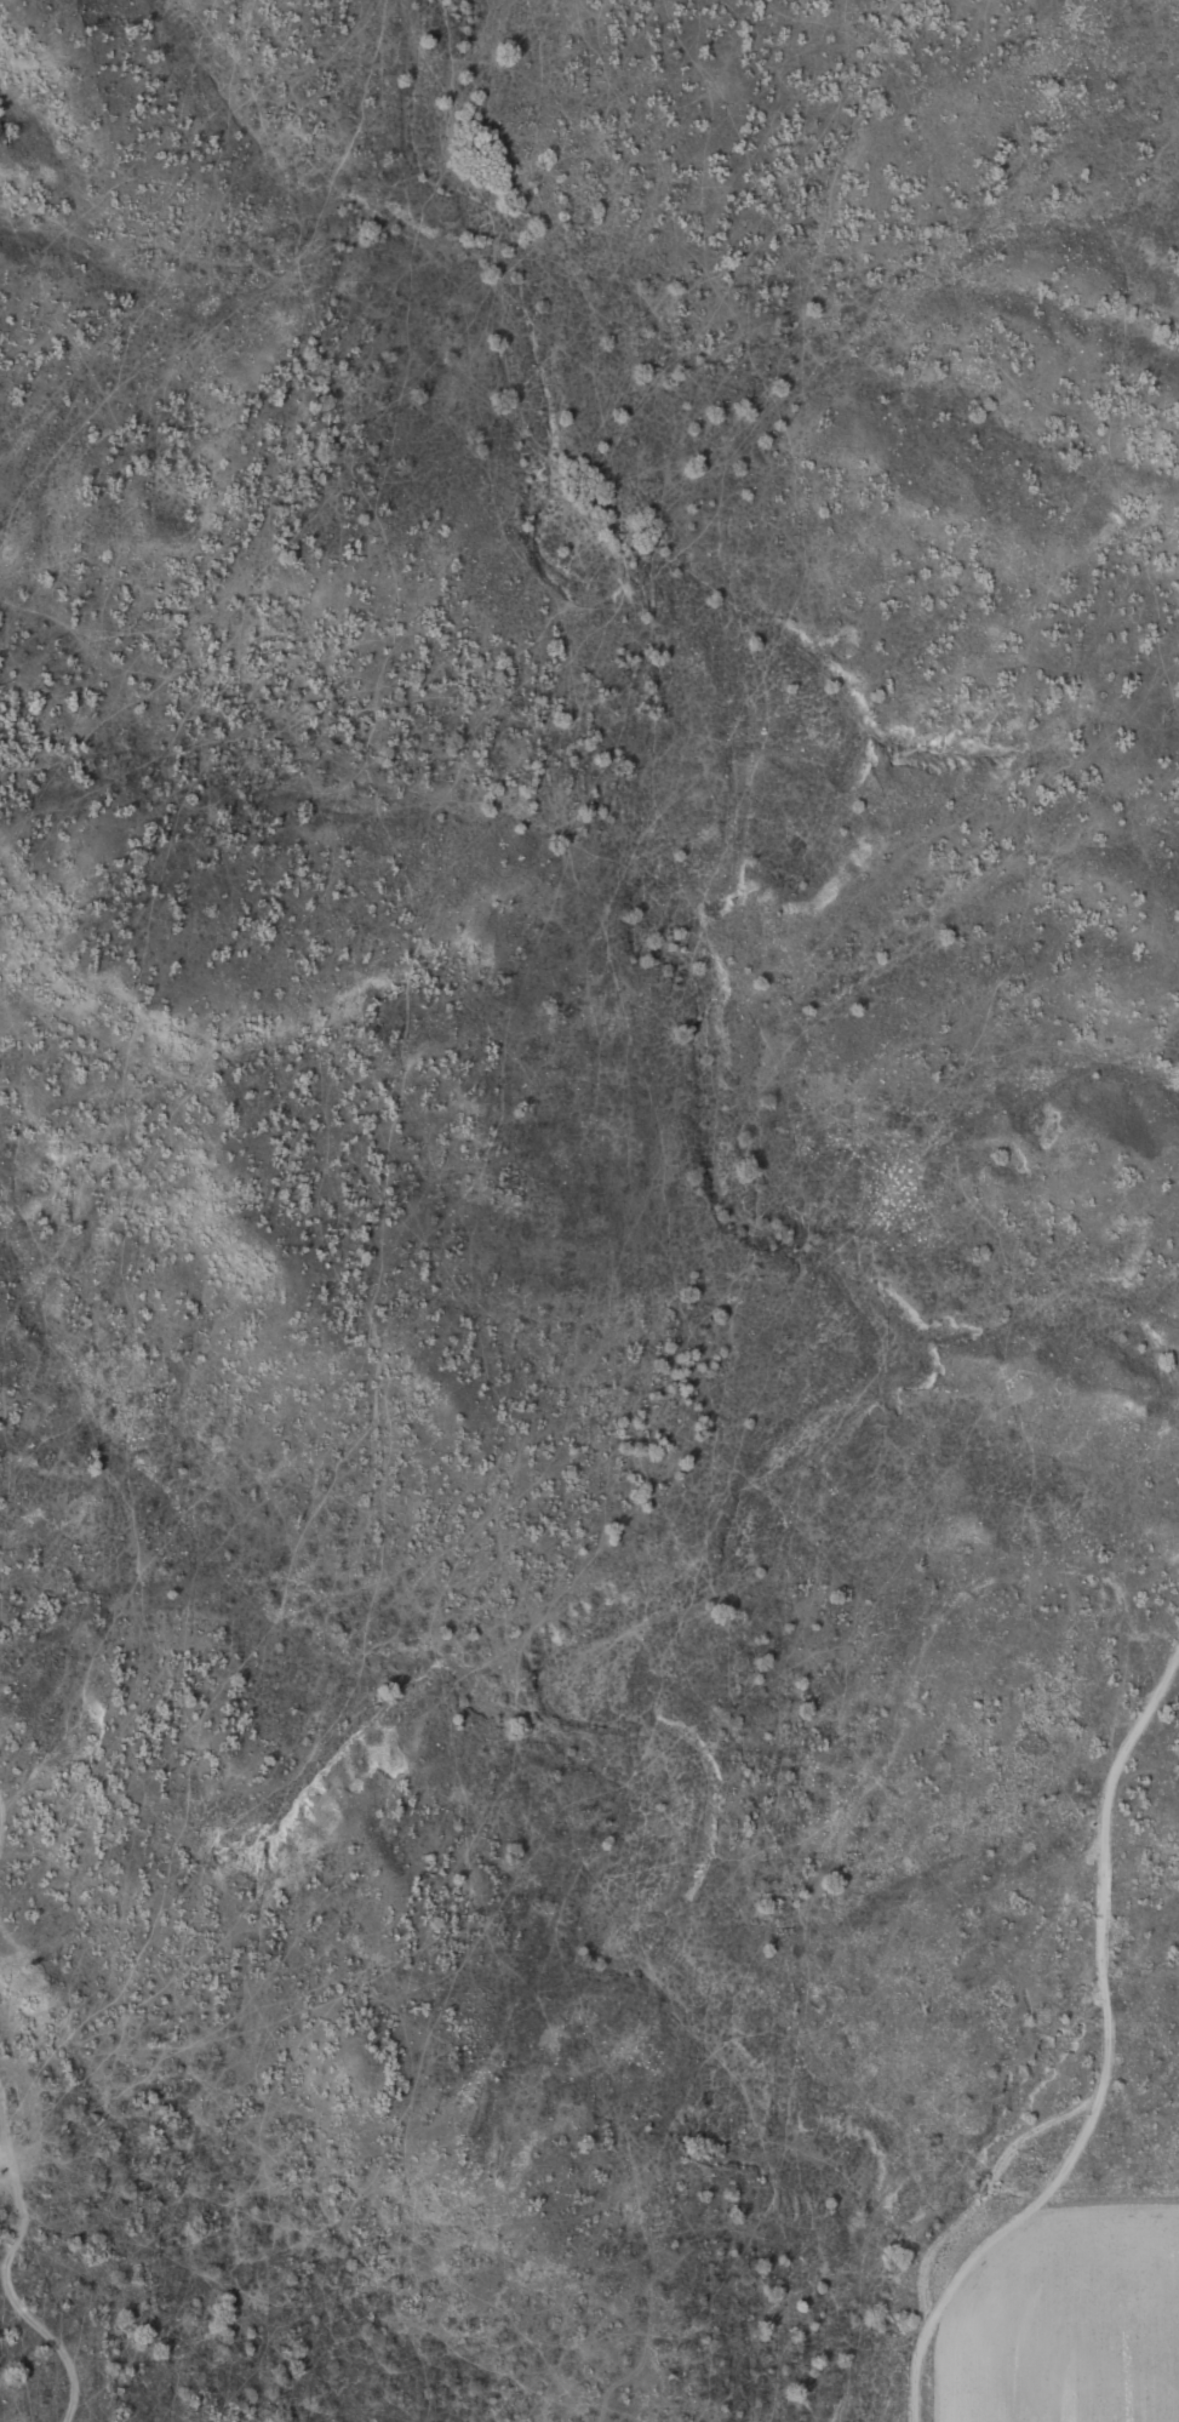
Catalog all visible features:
road: (1023, 1983)

